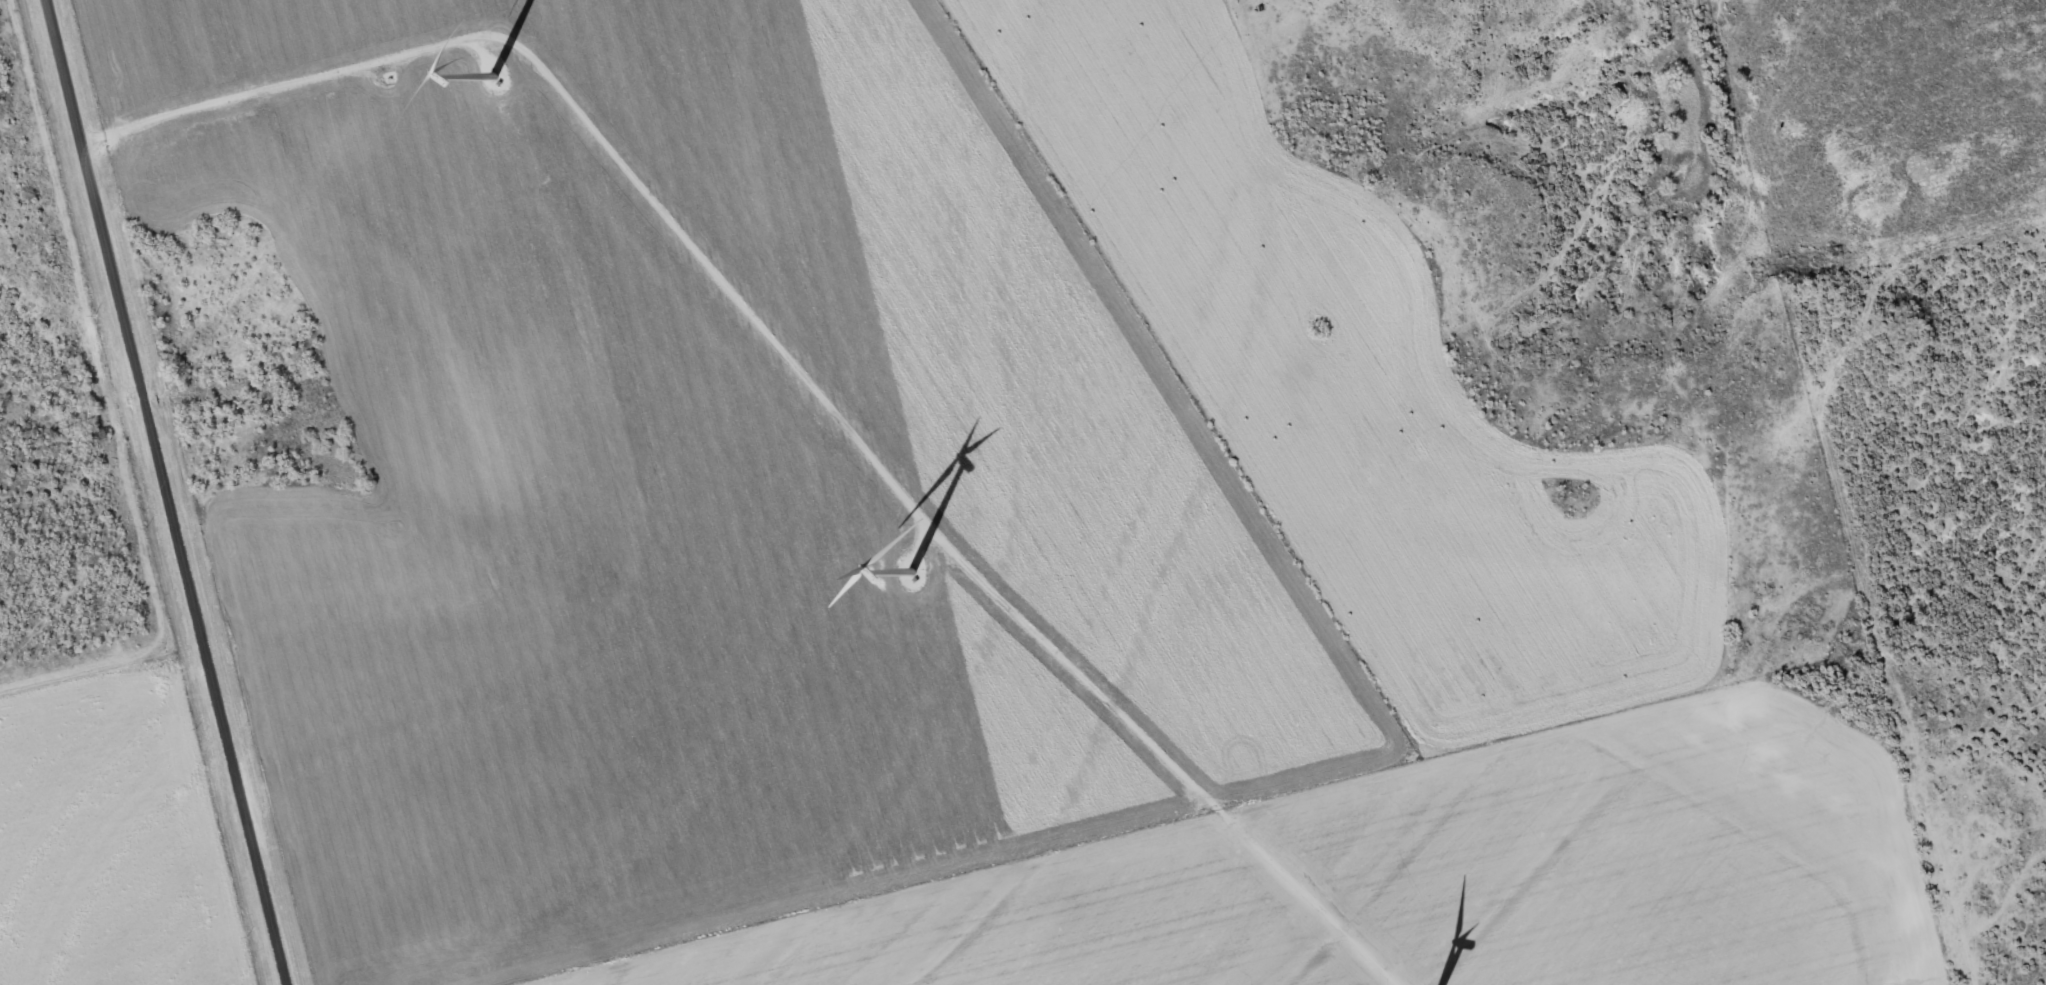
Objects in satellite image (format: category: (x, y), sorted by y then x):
wind turbine: (492, 77)
road: (169, 492)
wind turbine: (911, 572)

